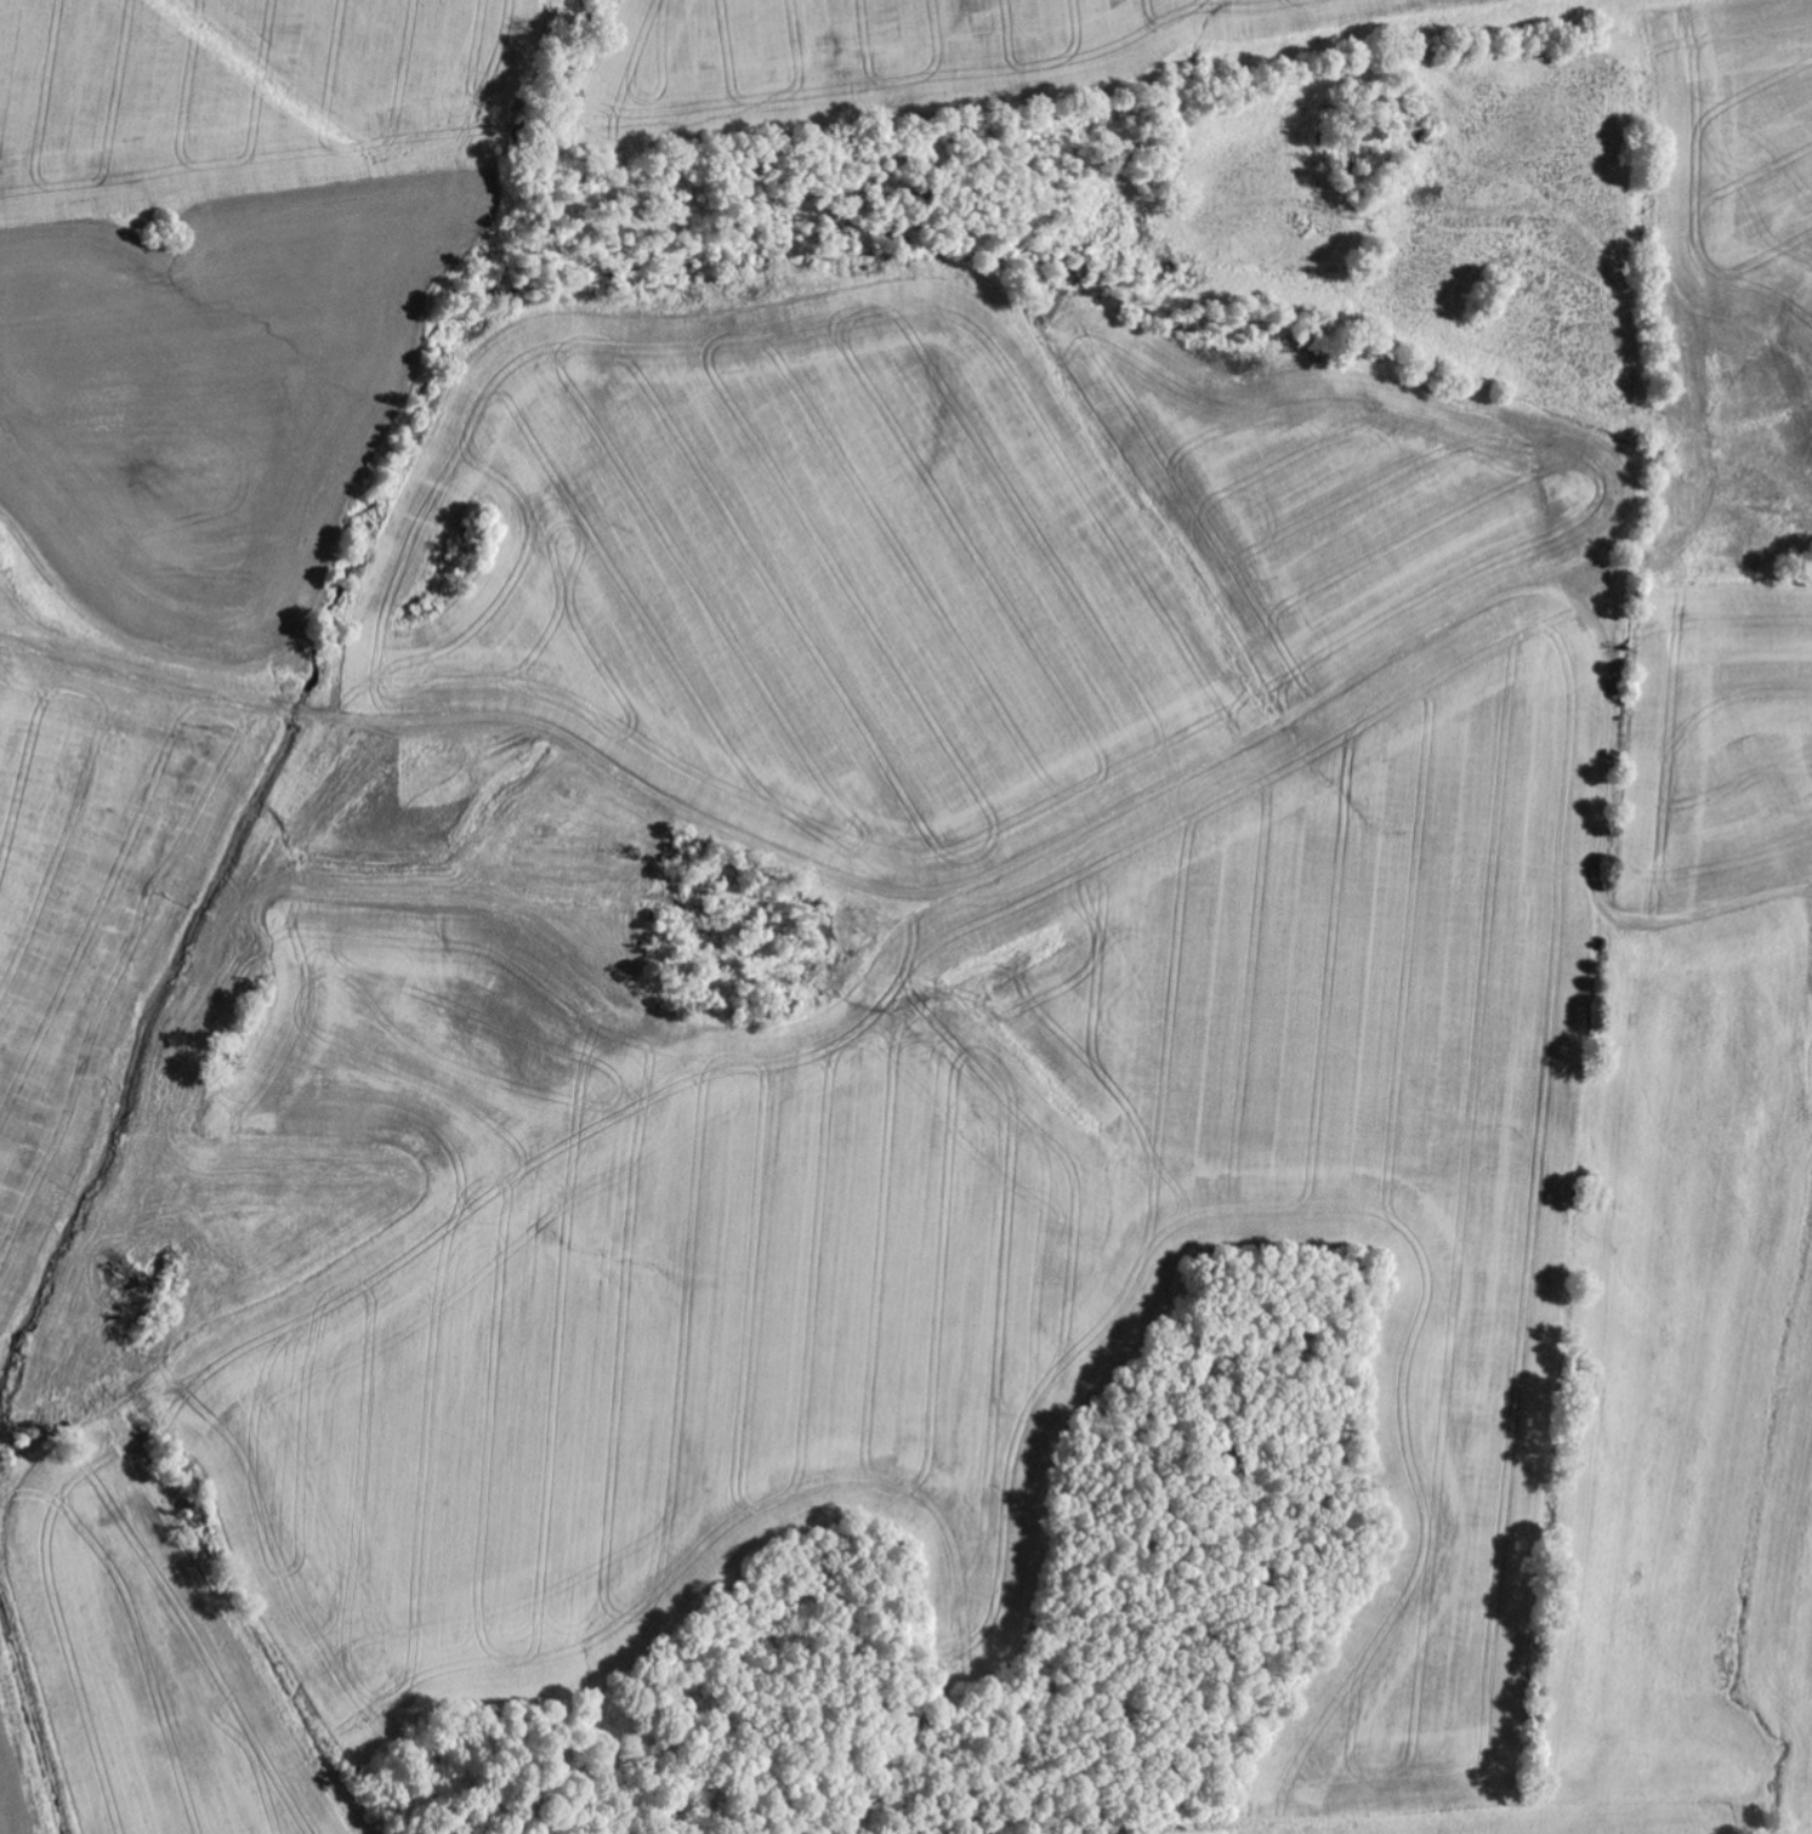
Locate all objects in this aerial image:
road: (1178, 29)

